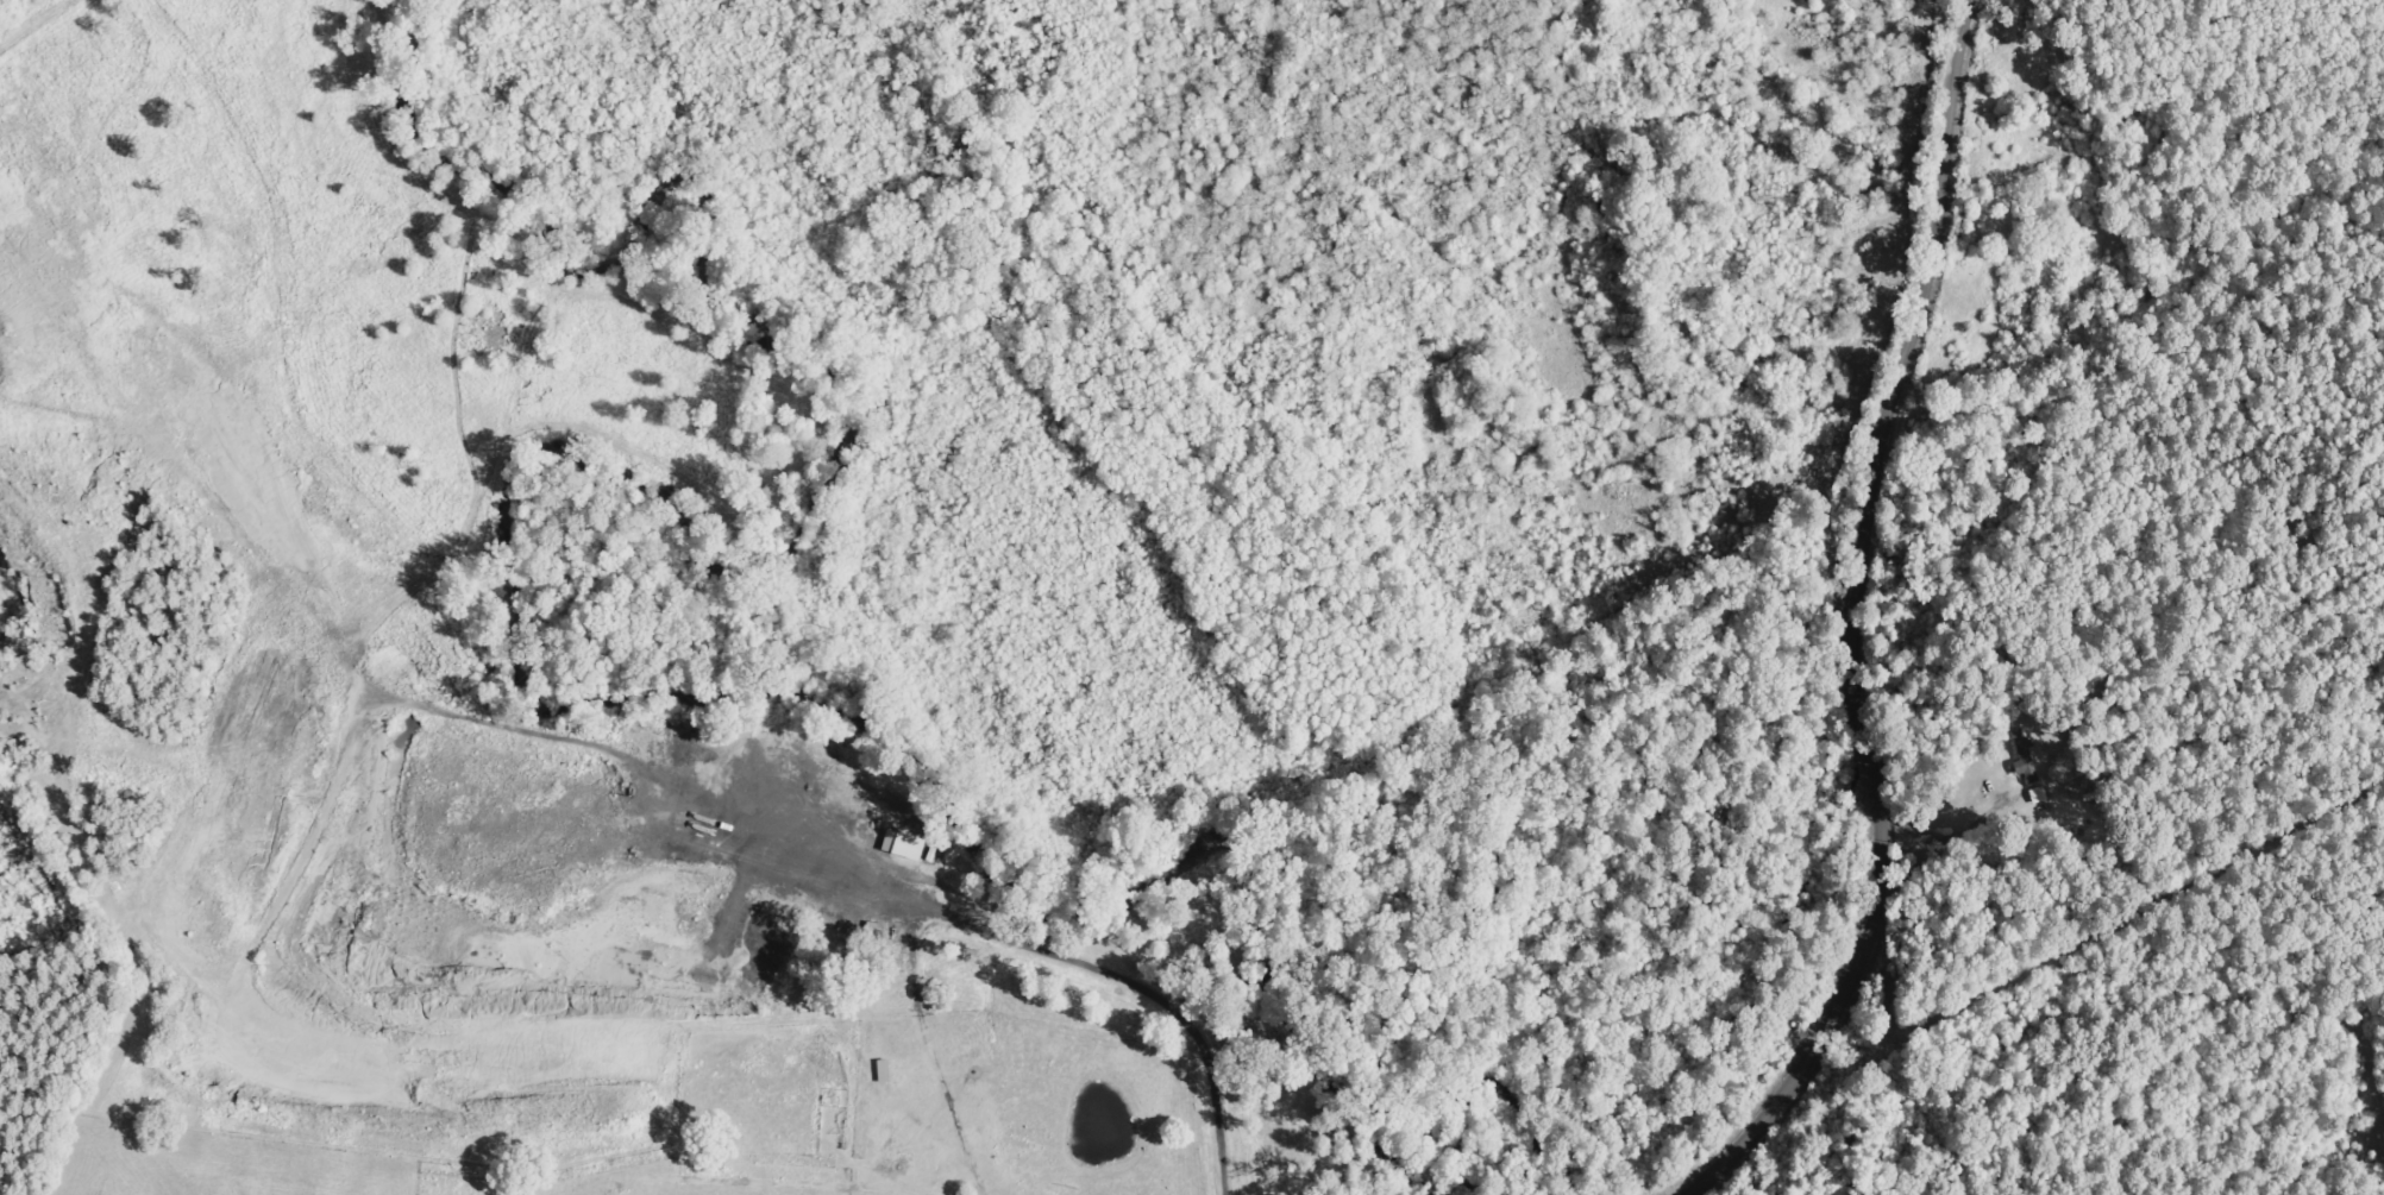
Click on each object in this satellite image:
road: (1859, 642)
building: (2025, 756)
building: (883, 1071)

